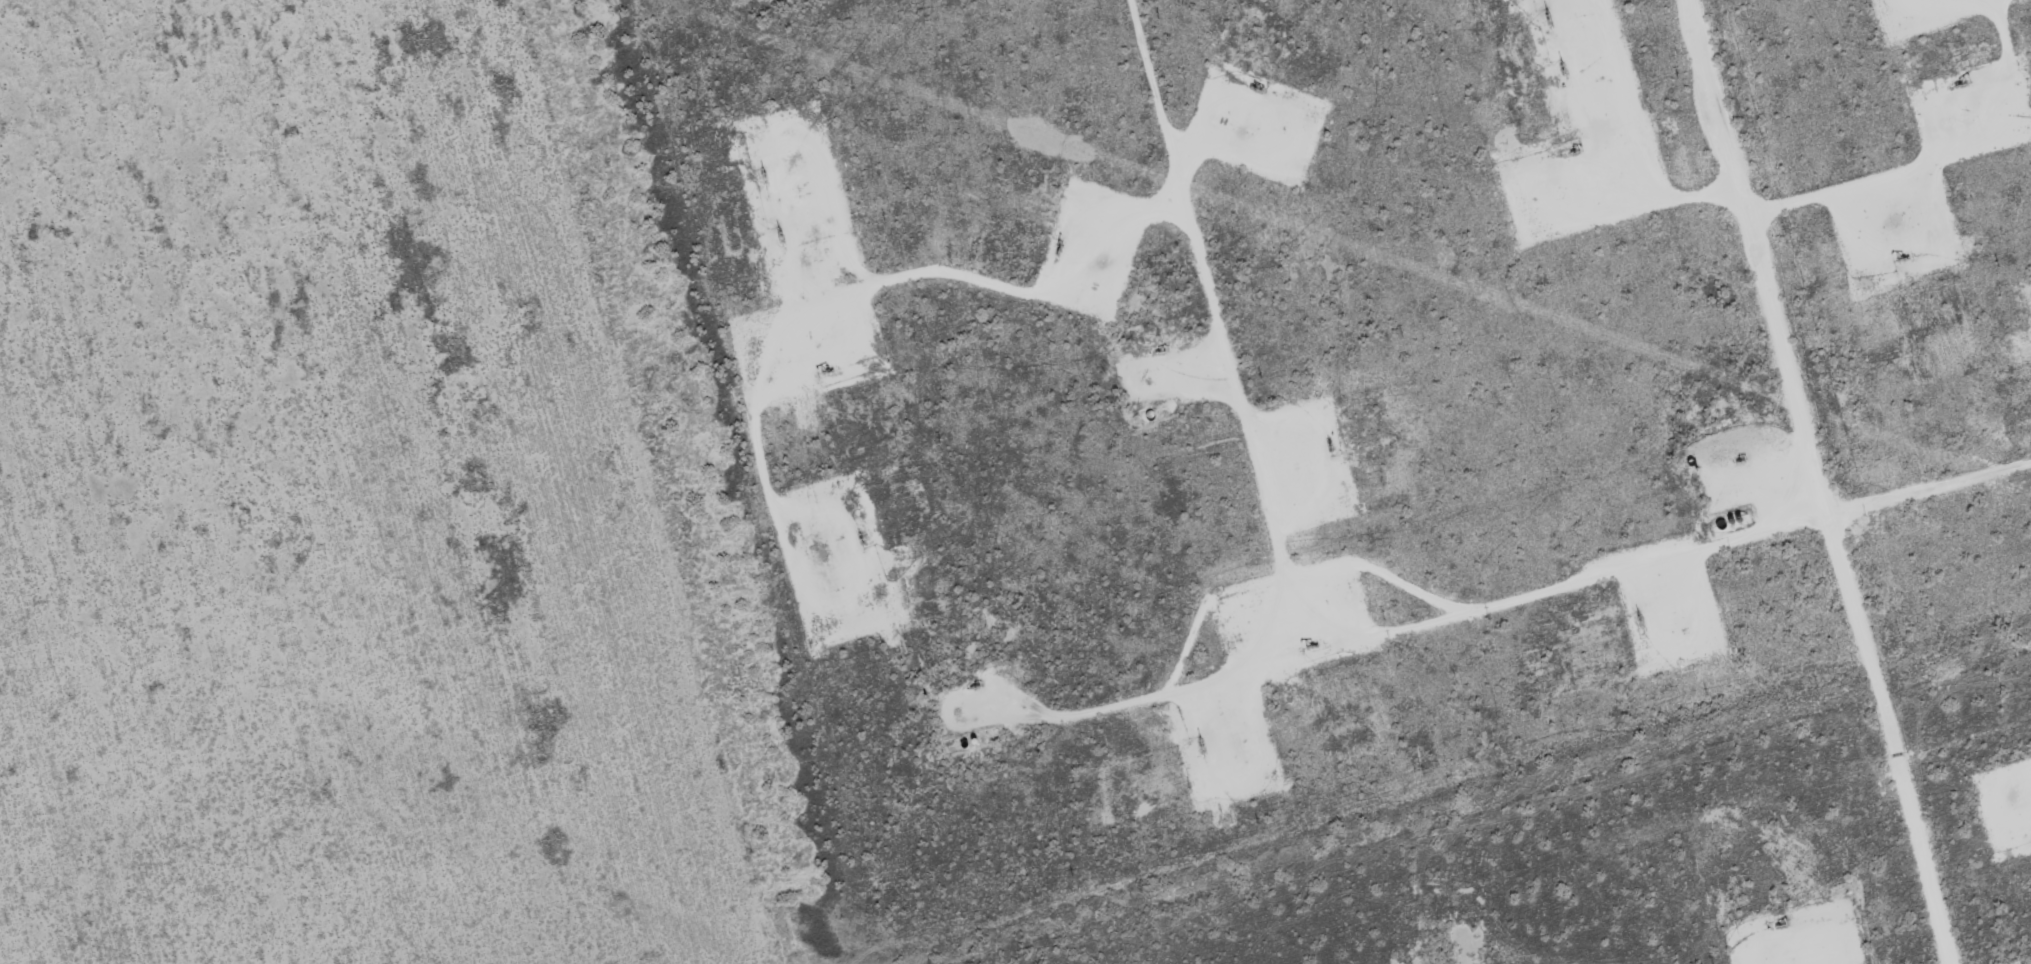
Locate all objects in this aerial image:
road: (1818, 481)

